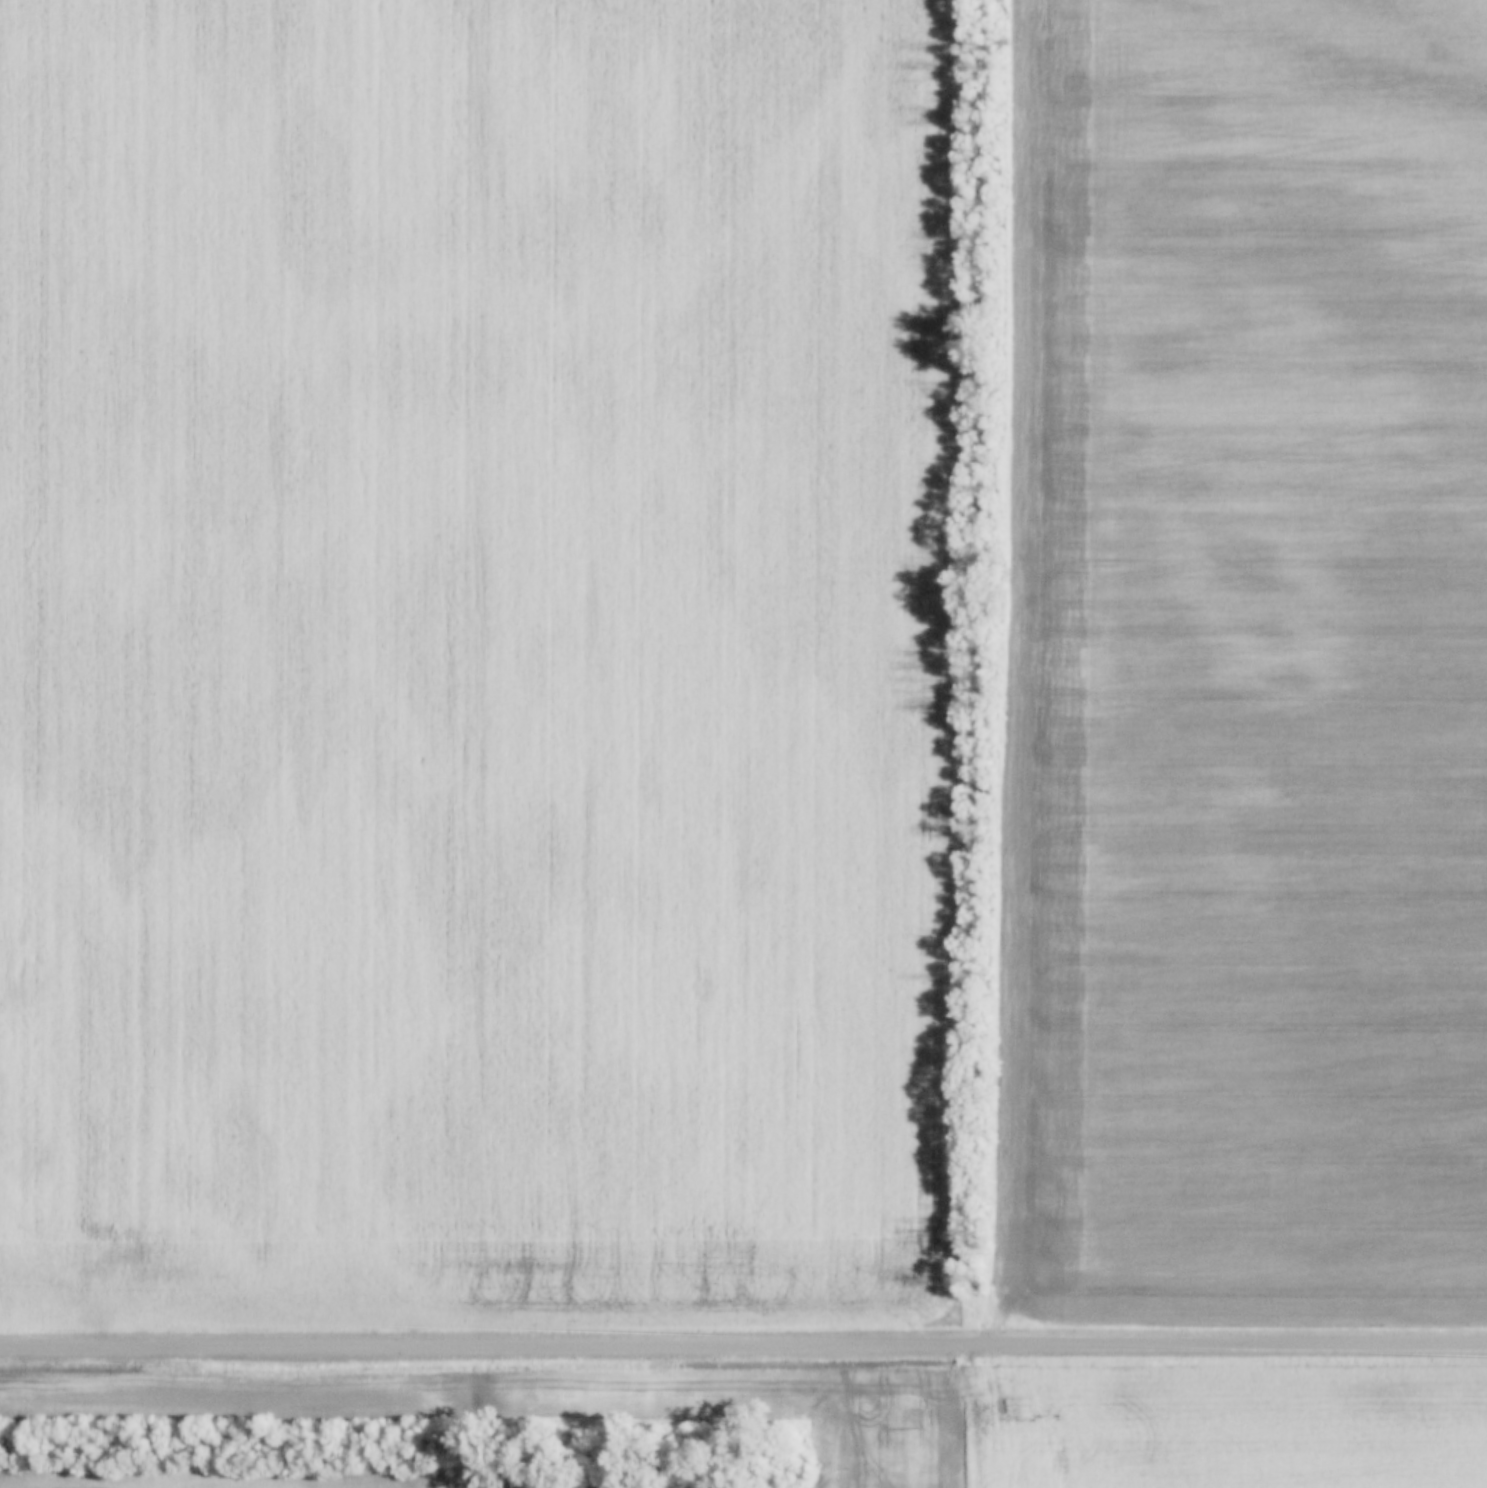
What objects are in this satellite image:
road: (743, 1345)

